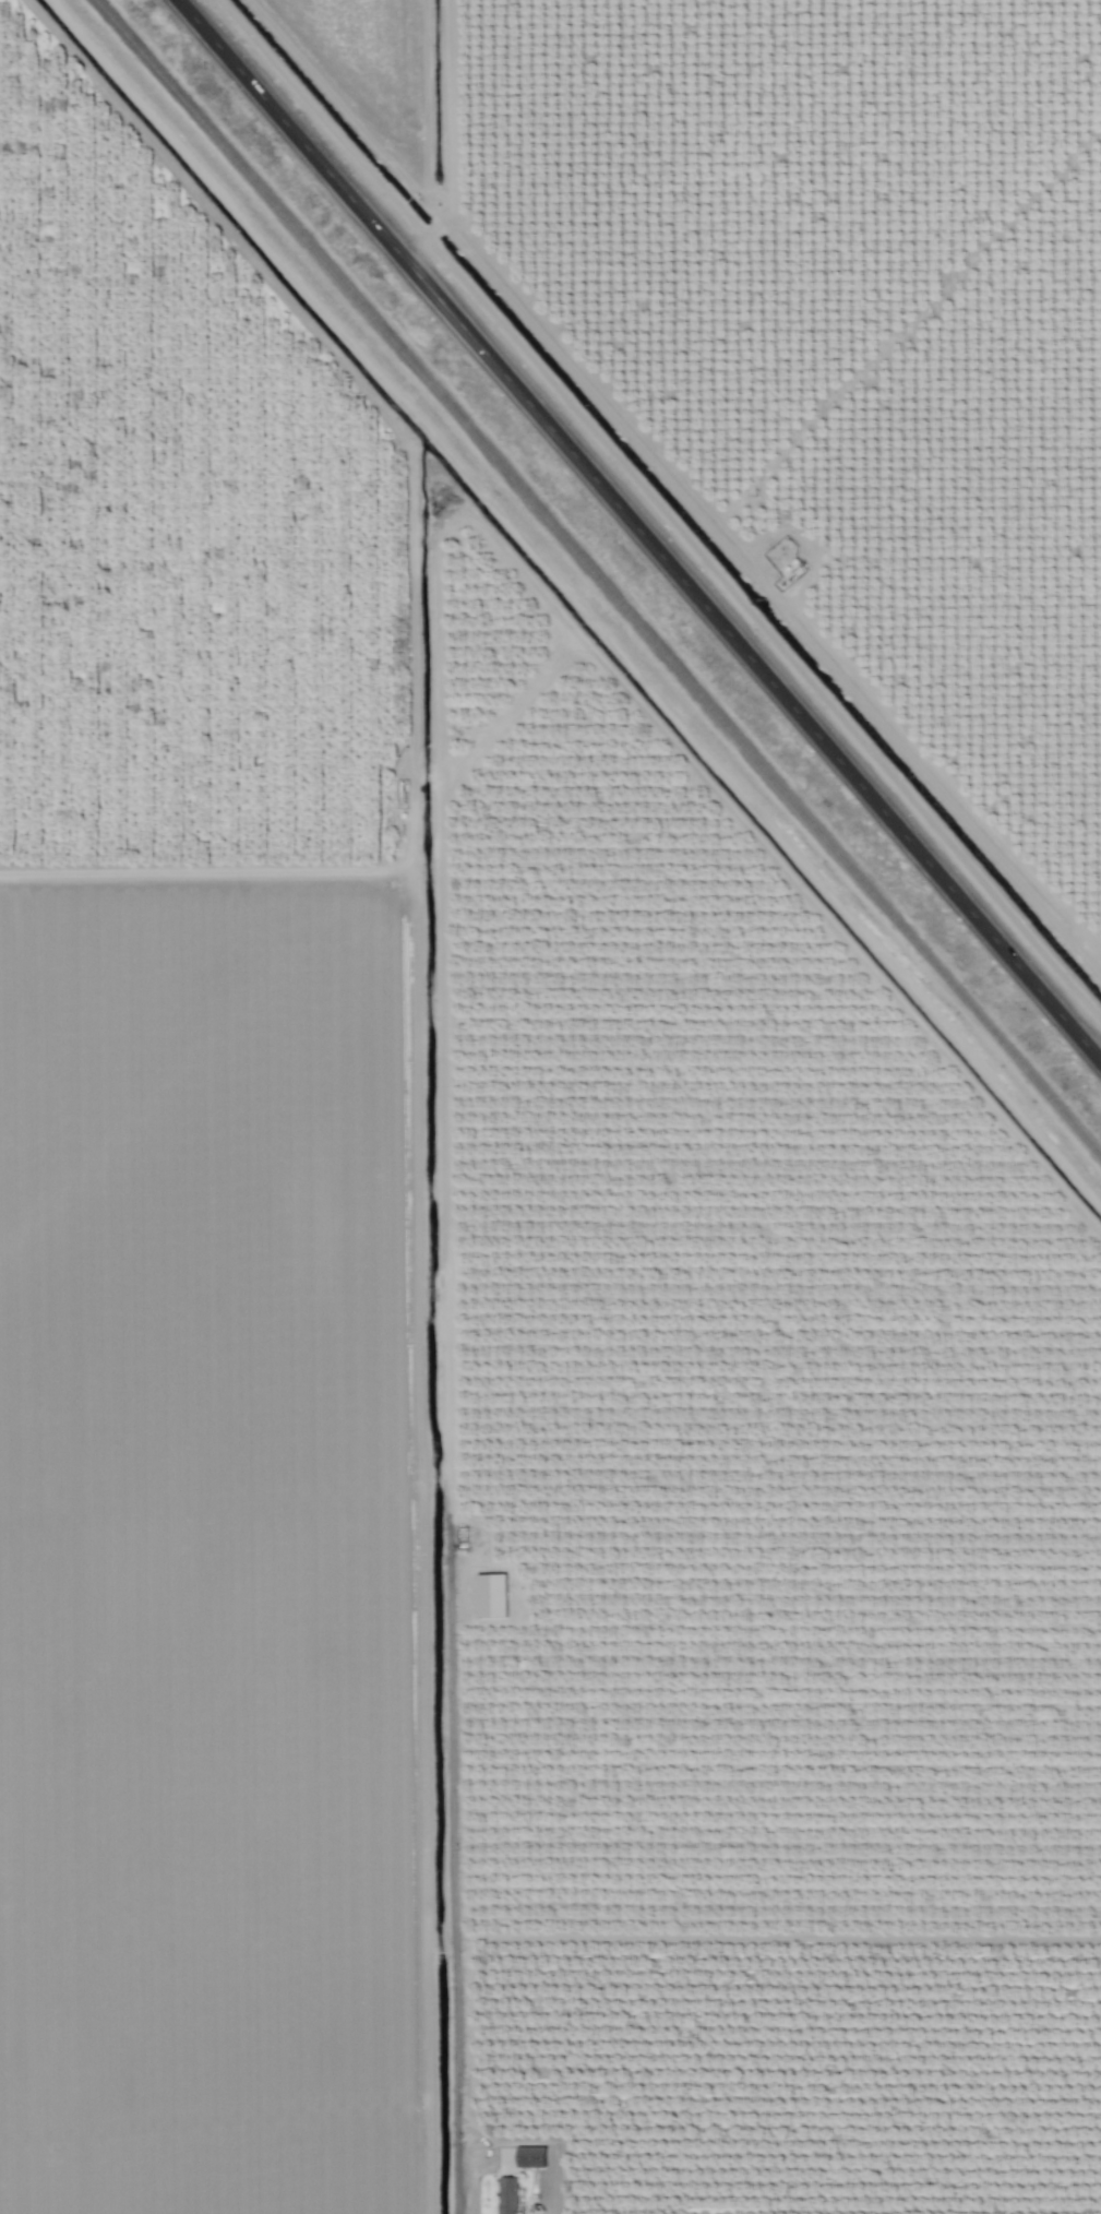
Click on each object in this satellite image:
crop: (799, 348)
road: (638, 531)
railway: (597, 580)
building: (629, 769)
crop: (474, 1401)
building: (511, 2197)

